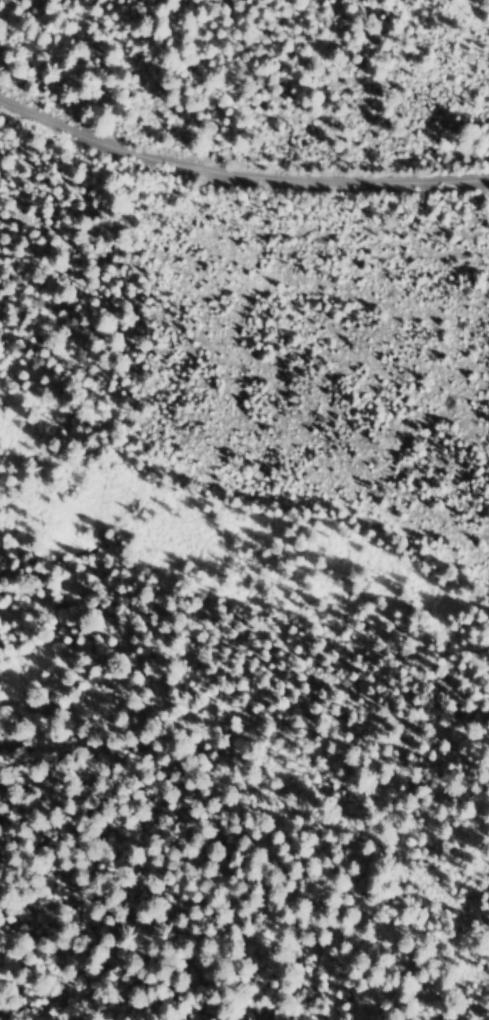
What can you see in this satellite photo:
road: (238, 181)

